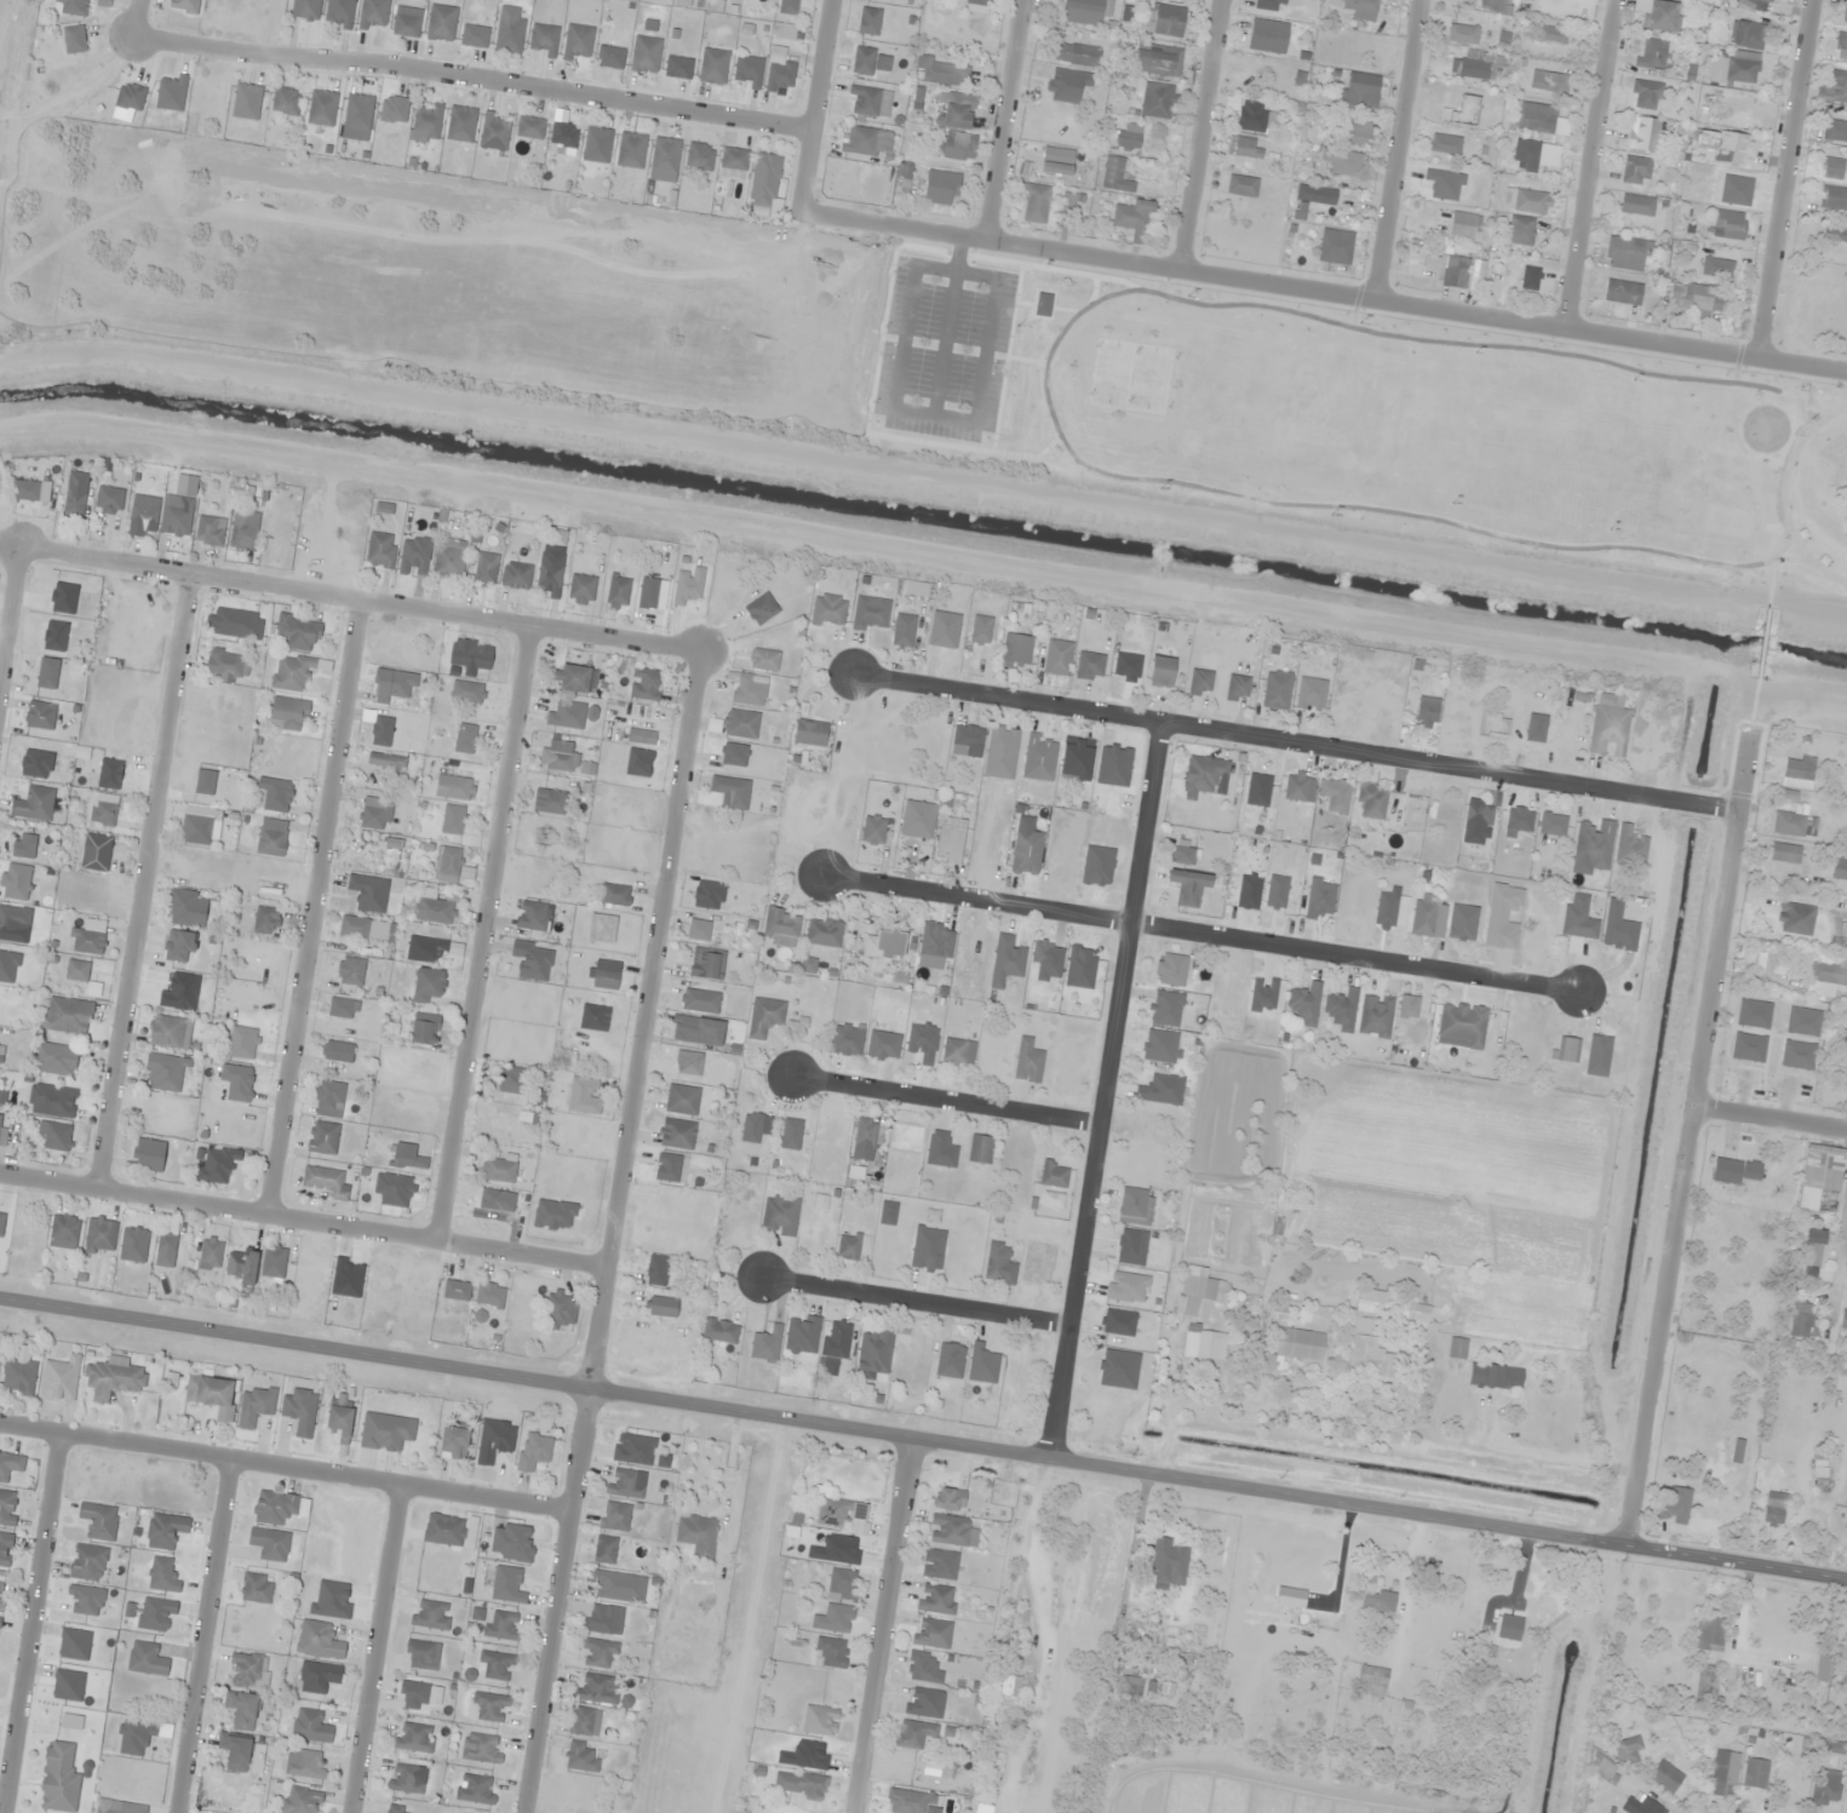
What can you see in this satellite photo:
building: (1766, 1)
building: (1746, 2)
building: (1270, 5)
building: (1492, 5)
building: (76, 6)
building: (184, 6)
building: (977, 6)
building: (791, 7)
building: (304, 8)
building: (1361, 8)
building: (1086, 11)
building: (1845, 11)
building: (339, 12)
building: (374, 13)
building: (1662, 16)
road: (136, 18)
building: (407, 21)
building: (870, 21)
building: (1166, 21)
building: (441, 22)
building: (510, 29)
building: (1462, 34)
building: (1550, 34)
building: (1268, 35)
building: (1749, 35)
building: (475, 36)
building: (74, 39)
building: (543, 40)
building: (578, 42)
building: (1841, 47)
building: (646, 53)
building: (1075, 54)
building: (1653, 54)
building: (610, 57)
building: (1158, 59)
building: (871, 62)
building: (713, 65)
building: (1474, 65)
building: (678, 68)
building: (747, 71)
building: (943, 71)
building: (1733, 71)
building: (780, 78)
building: (1549, 81)
road: (476, 82)
building: (1067, 85)
building: (1834, 88)
building: (1359, 90)
building: (171, 92)
building: (1645, 94)
building: (130, 97)
building: (286, 101)
building: (865, 101)
building: (1158, 101)
road: (822, 104)
building: (246, 105)
building: (394, 109)
building: (956, 109)
building: (321, 111)
building: (356, 116)
building: (1254, 116)
building: (1537, 117)
road: (1008, 120)
building: (426, 121)
building: (461, 124)
building: (530, 127)
building: (495, 131)
building: (1835, 131)
building: (1358, 132)
building: (1644, 133)
road: (1205, 134)
building: (1125, 137)
building: (563, 138)
building: (866, 142)
building: (597, 144)
building: (1445, 144)
building: (956, 147)
building: (1726, 147)
building: (1246, 149)
road: (1394, 149)
building: (631, 150)
building: (1527, 154)
building: (665, 155)
building: (700, 156)
building: (734, 159)
building: (1057, 161)
building: (1342, 162)
road: (1595, 165)
building: (1832, 168)
building: (1636, 171)
building: (904, 174)
building: (1114, 176)
road: (1785, 179)
building: (763, 185)
building: (1243, 187)
building: (941, 188)
building: (1317, 195)
building: (1835, 199)
building: (1527, 201)
building: (1034, 203)
building: (1636, 205)
building: (1134, 219)
building: (1728, 224)
building: (1464, 225)
building: (1521, 230)
building: (1835, 234)
building: (1335, 248)
building: (1625, 253)
building: (1716, 268)
building: (1449, 269)
building: (1493, 277)
road: (1327, 291)
building: (1623, 292)
building: (1698, 299)
road: (1045, 373)
park: (1383, 424)
building: (25, 490)
building: (75, 494)
road: (1786, 494)
building: (109, 500)
building: (143, 514)
building: (177, 516)
building: (210, 530)
building: (245, 530)
building: (380, 550)
building: (448, 558)
building: (486, 567)
building: (550, 572)
building: (516, 575)
building: (581, 590)
building: (618, 591)
road: (358, 597)
road: (7, 602)
building: (762, 609)
building: (828, 610)
building: (870, 614)
building: (236, 624)
building: (904, 630)
building: (943, 630)
building: (980, 631)
building: (298, 632)
building: (1016, 650)
building: (1057, 658)
building: (763, 659)
building: (226, 664)
building: (1089, 666)
building: (1160, 671)
building: (292, 672)
building: (47, 673)
building: (574, 678)
building: (394, 683)
building: (644, 683)
building: (1200, 683)
building: (1237, 689)
building: (750, 690)
building: (1277, 690)
building: (466, 692)
building: (1310, 694)
building: (40, 715)
building: (288, 715)
building: (570, 715)
building: (1426, 715)
building: (740, 723)
building: (1536, 727)
building: (380, 730)
building: (1608, 730)
building: (810, 733)
building: (966, 740)
road: (1292, 741)
building: (1000, 752)
building: (1039, 757)
building: (1075, 758)
building: (560, 761)
building: (385, 762)
building: (1799, 768)
building: (1203, 775)
building: (205, 782)
building: (1296, 786)
building: (454, 787)
building: (730, 792)
building: (275, 793)
building: (1335, 794)
building: (1371, 801)
building: (547, 802)
building: (34, 804)
building: (103, 813)
building: (375, 814)
building: (1479, 814)
building: (453, 819)
building: (917, 819)
building: (1518, 820)
building: (1553, 824)
building: (1788, 824)
building: (195, 828)
building: (873, 830)
building: (271, 837)
building: (950, 843)
building: (23, 845)
building: (1593, 847)
building: (1630, 847)
building: (96, 853)
building: (1025, 853)
building: (1784, 853)
building: (1183, 855)
building: (448, 865)
building: (1839, 871)
road: (144, 880)
building: (13, 882)
building: (1188, 888)
building: (368, 894)
building: (614, 894)
building: (1320, 899)
road: (310, 906)
building: (434, 907)
building: (1392, 908)
building: (187, 911)
building: (1423, 914)
building: (532, 916)
building: (1578, 917)
building: (1795, 918)
building: (13, 919)
building: (265, 920)
building: (780, 926)
building: (601, 928)
building: (367, 930)
building: (698, 930)
road: (481, 933)
building: (824, 934)
building: (1619, 934)
building: (1846, 934)
road: (1199, 935)
building: (936, 940)
building: (86, 941)
building: (884, 942)
building: (178, 946)
building: (426, 949)
building: (1044, 952)
building: (532, 960)
building: (1006, 960)
building: (1765, 962)
building: (706, 964)
building: (1080, 968)
building: (76, 970)
building: (1170, 970)
building: (350, 971)
building: (1828, 973)
building: (606, 979)
building: (426, 985)
building: (699, 1000)
building: (1304, 1004)
building: (1409, 1006)
building: (342, 1008)
building: (1165, 1009)
building: (1341, 1010)
building: (67, 1015)
building: (1376, 1015)
building: (593, 1017)
building: (764, 1017)
building: (391, 1022)
building: (1462, 1025)
building: (424, 1029)
building: (696, 1029)
building: (170, 1032)
building: (1845, 1038)
building: (845, 1039)
building: (242, 1043)
building: (883, 1045)
building: (1161, 1046)
building: (338, 1051)
building: (1, 1052)
building: (958, 1052)
building: (1598, 1055)
building: (56, 1060)
building: (688, 1062)
building: (1027, 1062)
building: (166, 1073)
building: (511, 1080)
building: (236, 1083)
building: (1160, 1089)
road: (1102, 1090)
building: (584, 1095)
building: (328, 1098)
building: (681, 1100)
road: (945, 1100)
building: (51, 1101)
road: (1771, 1117)
building: (751, 1126)
building: (524, 1128)
building: (2, 1129)
building: (676, 1134)
building: (790, 1134)
building: (864, 1135)
building: (53, 1136)
building: (322, 1137)
road: (1688, 1141)
building: (980, 1149)
building: (940, 1151)
building: (148, 1155)
building: (216, 1164)
building: (498, 1167)
building: (1737, 1171)
building: (1054, 1175)
building: (1819, 1175)
building: (677, 1176)
building: (327, 1182)
building: (392, 1191)
building: (1051, 1200)
building: (1135, 1206)
building: (779, 1215)
road: (302, 1221)
building: (1, 1222)
road: (610, 1230)
building: (63, 1232)
building: (99, 1237)
building: (1128, 1243)
building: (166, 1244)
building: (133, 1245)
building: (848, 1246)
building: (1813, 1247)
building: (927, 1249)
building: (211, 1251)
building: (273, 1262)
building: (241, 1264)
building: (999, 1264)
building: (457, 1290)
building: (489, 1296)
road: (914, 1297)
building: (1373, 1301)
building: (662, 1307)
building: (561, 1310)
building: (1187, 1312)
building: (1417, 1312)
building: (1843, 1319)
building: (1803, 1321)
building: (719, 1331)
building: (802, 1335)
building: (837, 1336)
building: (1298, 1344)
building: (765, 1346)
building: (1457, 1348)
building: (1369, 1349)
building: (873, 1353)
building: (950, 1360)
building: (982, 1364)
building: (18, 1376)
building: (1495, 1377)
building: (113, 1378)
building: (59, 1379)
building: (211, 1395)
building: (256, 1406)
building: (298, 1411)
building: (339, 1419)
building: (385, 1432)
building: (494, 1441)
building: (453, 1444)
road: (922, 1444)
building: (633, 1450)
building: (1737, 1451)
building: (533, 1452)
building: (10, 1465)
road: (283, 1465)
building: (624, 1484)
building: (948, 1499)
building: (1675, 1507)
building: (7, 1508)
building: (279, 1508)
building: (1774, 1509)
building: (838, 1513)
building: (614, 1516)
building: (98, 1520)
building: (443, 1530)
building: (165, 1531)
building: (953, 1531)
building: (696, 1536)
building: (511, 1543)
building: (269, 1544)
building: (5, 1549)
building: (604, 1549)
building: (1846, 1549)
building: (87, 1562)
building: (1168, 1564)
building: (939, 1565)
building: (162, 1576)
building: (843, 1584)
building: (506, 1585)
building: (610, 1585)
building: (256, 1588)
building: (1, 1593)
building: (936, 1600)
building: (1375, 1600)
building: (1674, 1605)
building: (155, 1614)
building: (430, 1614)
building: (602, 1619)
building: (834, 1619)
building: (0, 1620)
road: (28, 1622)
building: (501, 1625)
road: (884, 1628)
building: (1510, 1628)
building: (931, 1633)
road: (201, 1635)
building: (1708, 1635)
building: (319, 1641)
road: (377, 1648)
building: (598, 1653)
building: (830, 1653)
building: (421, 1654)
building: (145, 1659)
building: (1820, 1664)
building: (497, 1665)
building: (922, 1668)
building: (247, 1670)
building: (1841, 1671)
building: (317, 1677)
building: (1371, 1681)
building: (1705, 1685)
building: (1129, 1687)
building: (597, 1688)
building: (1003, 1691)
building: (419, 1696)
building: (924, 1703)
building: (491, 1706)
building: (242, 1710)
building: (820, 1721)
building: (584, 1722)
building: (310, 1726)
building: (916, 1734)
building: (413, 1737)
building: (1831, 1746)
building: (481, 1748)
building: (1628, 1751)
building: (236, 1752)
building: (580, 1757)
building: (303, 1765)
building: (1604, 1769)
building: (1723, 1773)
building: (1755, 1774)
building: (1664, 1777)
building: (58, 1779)
building: (405, 1779)
building: (799, 1784)
building: (1826, 1788)
building: (475, 1789)
building: (300, 1800)
building: (912, 1802)
building: (983, 1805)
building: (1640, 1805)
building: (125, 1808)
building: (395, 1809)

